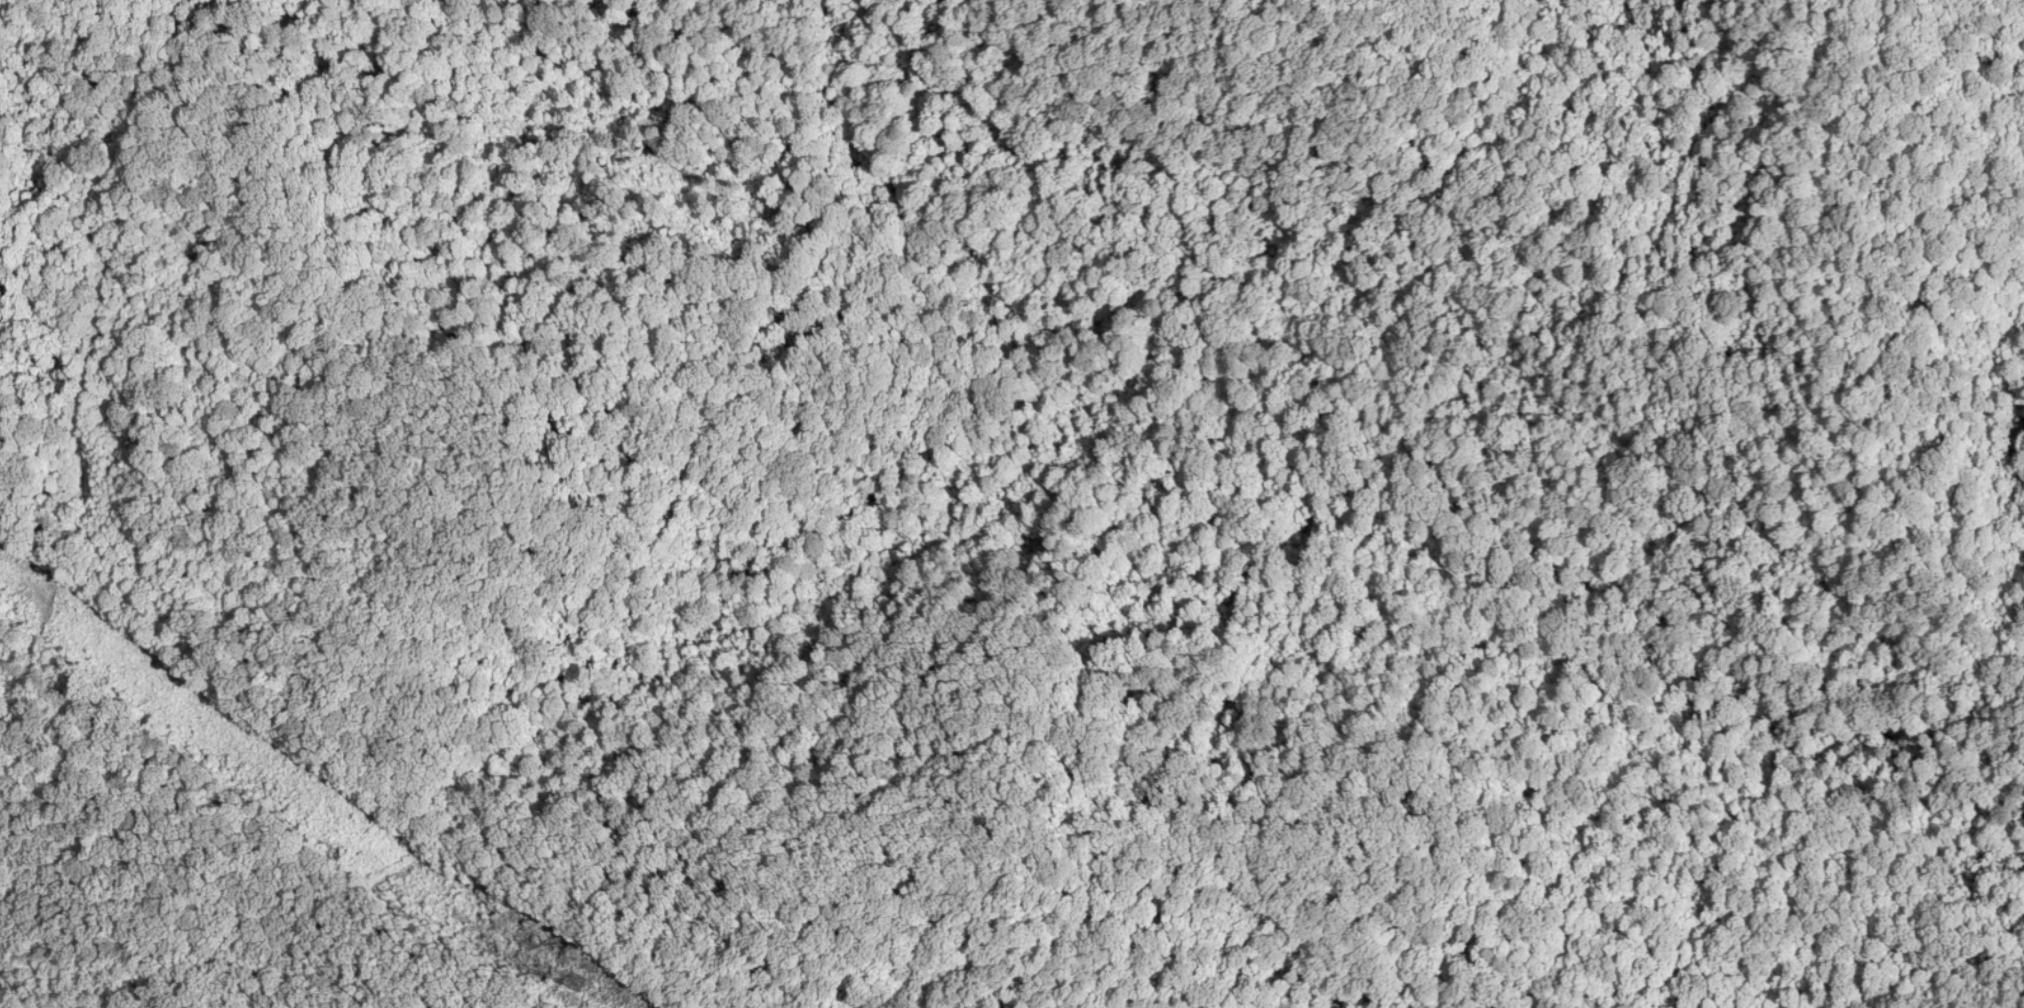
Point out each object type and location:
power tower: (567, 984)

